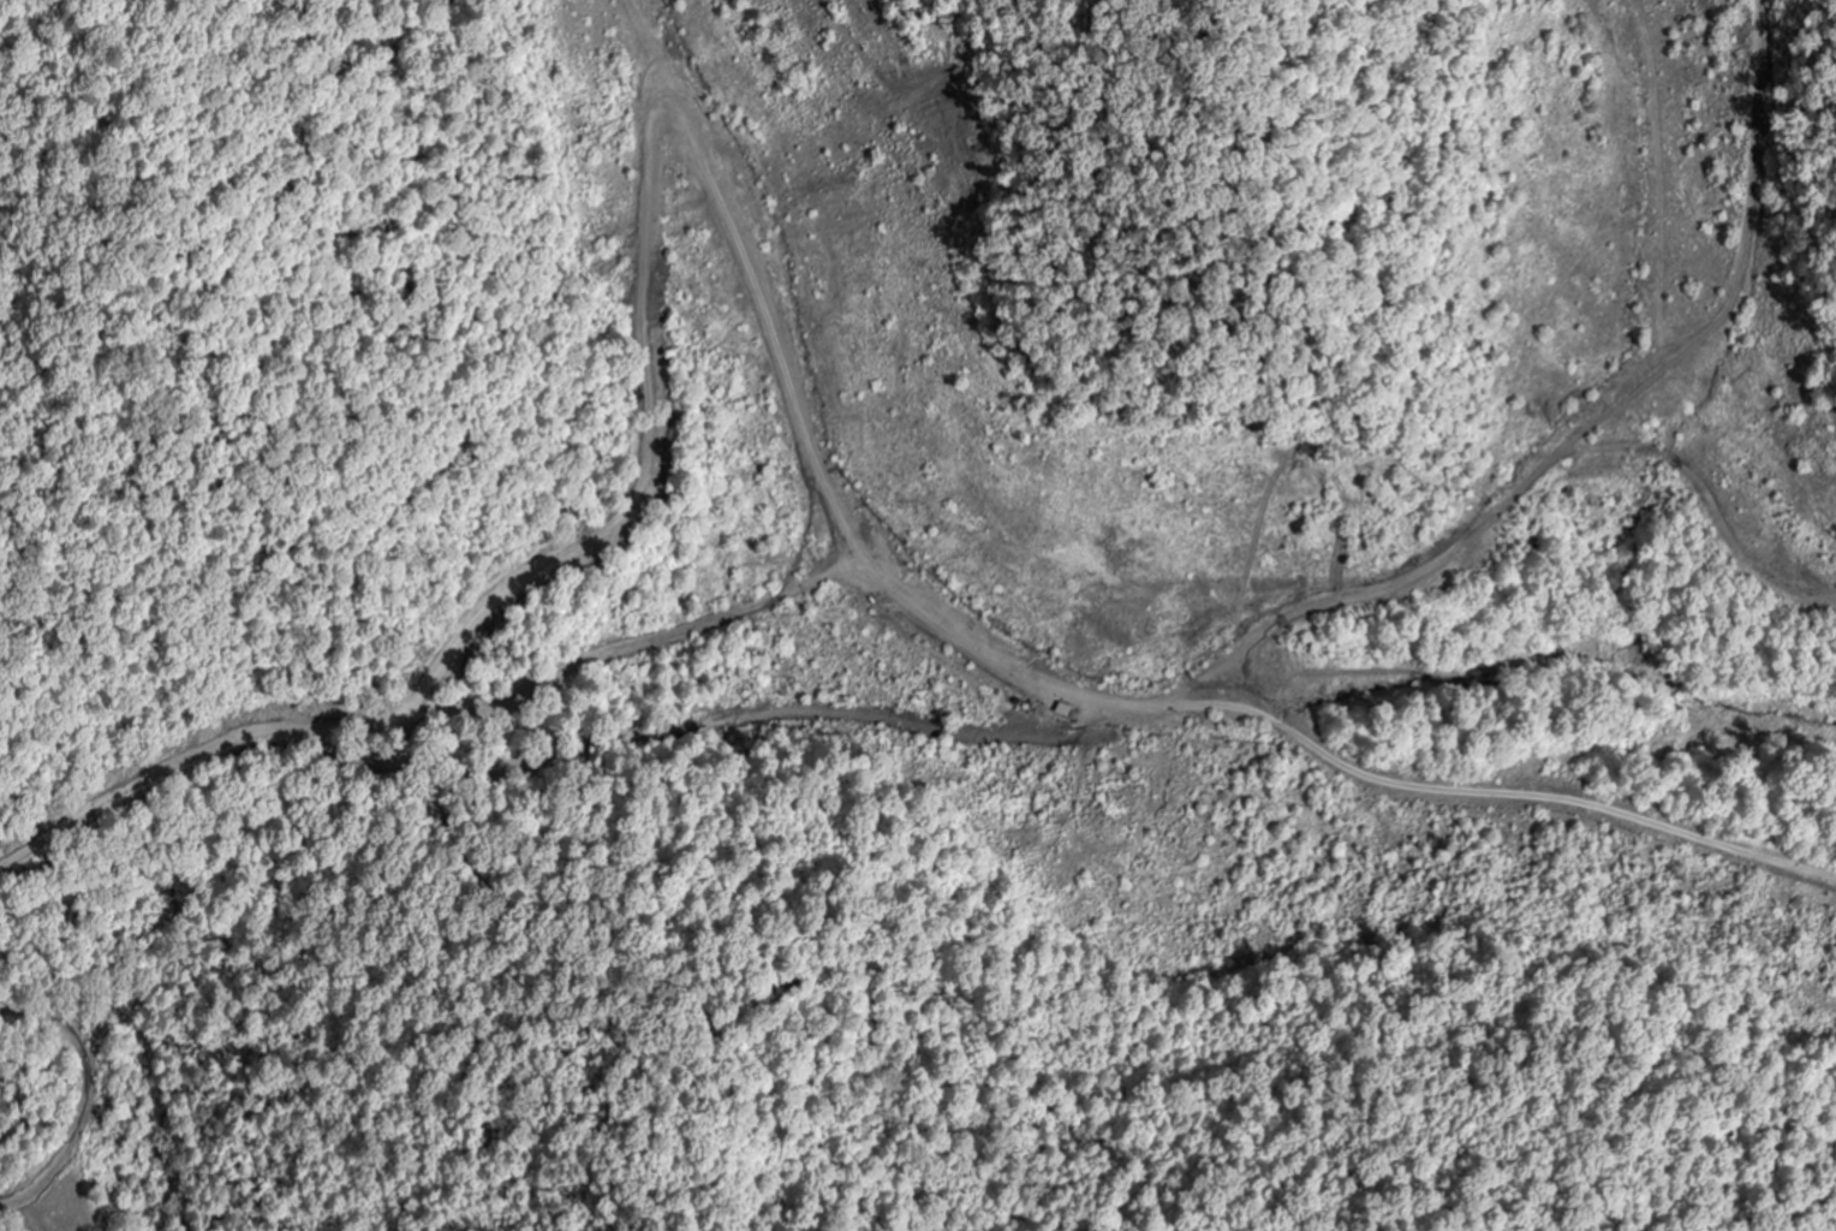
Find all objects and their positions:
road: (1561, 646)

